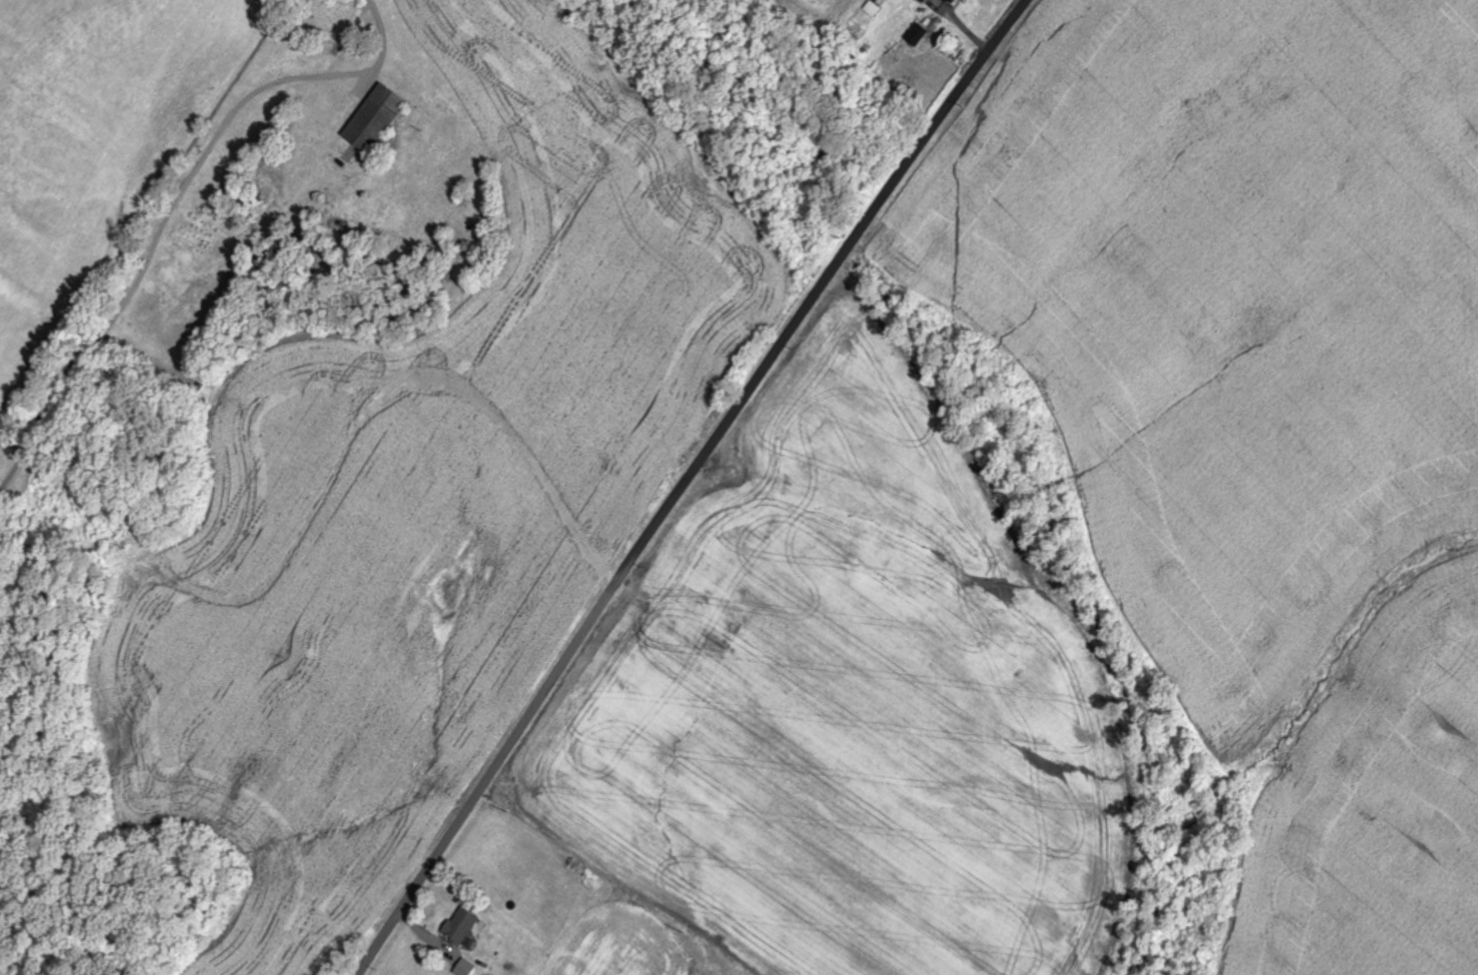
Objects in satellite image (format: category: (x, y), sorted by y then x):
building: (925, 1)
building: (951, 1)
building: (876, 7)
building: (919, 34)
building: (379, 118)
road: (174, 204)
road: (684, 482)
building: (463, 926)
building: (467, 968)

